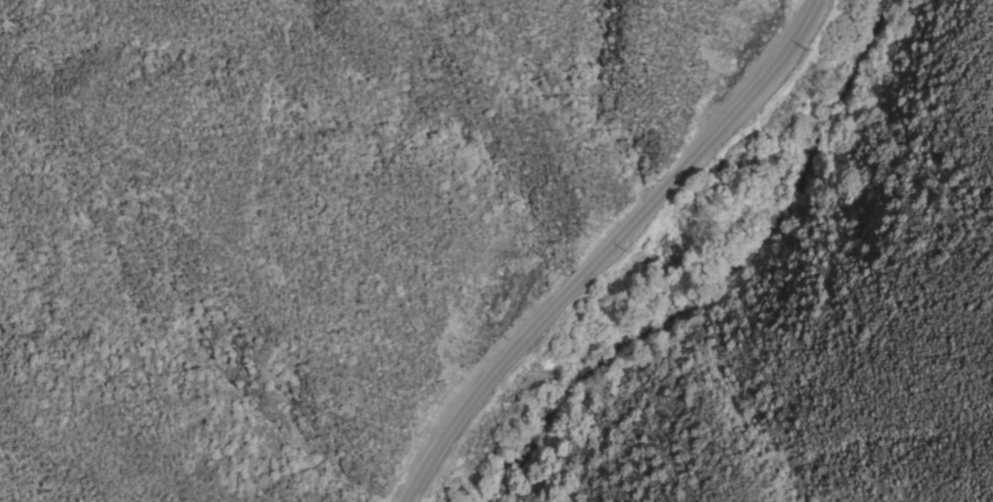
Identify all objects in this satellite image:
road: (619, 250)

